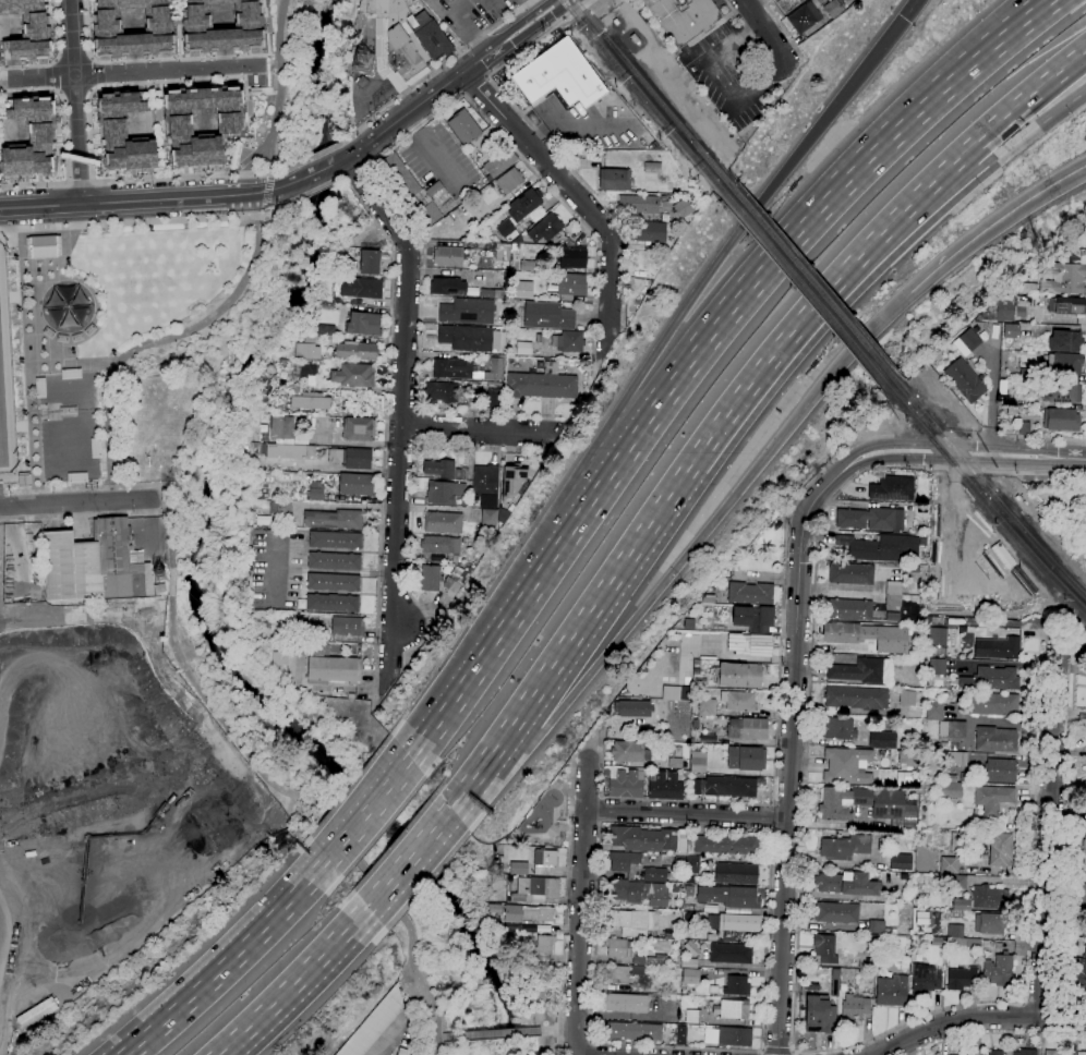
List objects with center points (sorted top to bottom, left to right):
road: (589, 2)
building: (787, 4)
building: (393, 9)
building: (832, 9)
road: (910, 9)
building: (684, 17)
building: (804, 17)
traffic signals: (905, 19)
building: (220, 24)
road: (467, 25)
building: (131, 26)
road: (763, 28)
road: (746, 29)
building: (27, 31)
road: (783, 31)
building: (430, 36)
road: (734, 44)
building: (402, 53)
road: (55, 57)
power tower: (364, 65)
road: (434, 69)
road: (131, 72)
building: (559, 76)
road: (449, 81)
road: (474, 84)
road: (722, 84)
road: (760, 85)
road: (280, 86)
railway: (653, 93)
railway: (643, 96)
road: (75, 100)
road: (1000, 121)
building: (201, 122)
building: (463, 126)
road: (1035, 128)
building: (122, 131)
building: (29, 136)
parking lot: (431, 147)
road: (557, 153)
road: (255, 157)
road: (310, 157)
building: (499, 162)
building: (653, 167)
road: (531, 168)
road: (274, 172)
road: (358, 173)
road: (309, 174)
road: (134, 180)
building: (614, 180)
building: (509, 181)
road: (952, 182)
road: (266, 190)
road: (273, 190)
building: (410, 190)
road: (574, 191)
road: (309, 193)
road: (133, 199)
building: (526, 203)
building: (640, 203)
road: (825, 205)
building: (680, 207)
road: (264, 209)
road: (271, 209)
road: (263, 214)
road: (134, 221)
road: (745, 223)
building: (503, 225)
road: (992, 226)
building: (545, 228)
road: (4, 229)
building: (651, 232)
road: (350, 238)
building: (503, 238)
building: (517, 240)
building: (569, 243)
building: (43, 245)
building: (502, 252)
building: (451, 256)
street lamp: (14, 258)
building: (574, 258)
street lamp: (67, 262)
building: (370, 262)
building: (530, 266)
building: (1064, 272)
railway: (810, 280)
building: (571, 284)
building: (447, 287)
building: (361, 288)
railway: (804, 288)
building: (522, 289)
building: (1021, 289)
building: (492, 293)
building: (328, 306)
building: (1070, 306)
street lamp: (17, 310)
building: (1004, 310)
building: (469, 311)
building: (548, 316)
building: (363, 324)
road: (800, 325)
park: (87, 330)
building: (1011, 331)
building: (469, 338)
building: (540, 339)
building: (969, 339)
building: (568, 341)
building: (1065, 341)
building: (307, 348)
building: (522, 348)
street lamp: (72, 351)
building: (355, 351)
street lamp: (113, 352)
road: (420, 354)
road: (28, 359)
street lamp: (21, 360)
building: (1064, 363)
road: (70, 365)
building: (452, 368)
building: (495, 368)
building: (304, 372)
building: (1026, 374)
building: (353, 376)
building: (964, 380)
building: (544, 383)
building: (266, 385)
building: (1002, 386)
building: (439, 392)
building: (1059, 392)
building: (493, 399)
building: (303, 401)
building: (1006, 401)
building: (1011, 411)
street lamp: (24, 412)
road: (402, 415)
building: (1060, 420)
road: (385, 427)
building: (282, 428)
road: (417, 428)
building: (1024, 428)
building: (358, 429)
road: (480, 429)
road: (937, 436)
road: (1034, 438)
building: (283, 451)
road: (961, 452)
building: (351, 458)
street lamp: (27, 463)
building: (441, 469)
road: (965, 469)
road: (16, 470)
road: (1035, 473)
building: (463, 474)
building: (23, 480)
building: (485, 481)
building: (510, 481)
road: (607, 483)
building: (357, 484)
railway: (987, 486)
building: (892, 488)
road: (73, 489)
building: (316, 490)
building: (441, 493)
road: (107, 495)
railway: (982, 497)
road: (412, 498)
road: (74, 502)
building: (283, 507)
building: (502, 514)
road: (86, 516)
building: (488, 517)
building: (871, 519)
building: (333, 520)
building: (443, 522)
road: (711, 527)
building: (335, 539)
building: (439, 545)
building: (882, 548)
building: (334, 560)
building: (95, 563)
building: (852, 573)
building: (158, 578)
power tower: (158, 578)
building: (431, 578)
building: (334, 582)
building: (454, 583)
building: (159, 589)
building: (750, 593)
building: (893, 594)
road: (599, 598)
building: (709, 599)
building: (333, 603)
building: (849, 609)
road: (64, 615)
road: (170, 616)
building: (753, 618)
building: (348, 626)
building: (313, 629)
road: (1039, 633)
building: (938, 635)
building: (867, 636)
road: (496, 640)
building: (749, 644)
building: (1004, 648)
building: (316, 650)
building: (919, 652)
building: (280, 659)
building: (937, 667)
building: (335, 669)
building: (858, 670)
building: (737, 675)
building: (995, 679)
building: (676, 693)
building: (906, 698)
building: (854, 699)
building: (738, 701)
road: (779, 704)
building: (992, 705)
building: (707, 707)
building: (632, 708)
building: (934, 710)
building: (747, 728)
building: (838, 728)
building: (956, 730)
building: (708, 738)
building: (882, 739)
building: (995, 739)
road: (595, 741)
building: (627, 751)
road: (789, 755)
building: (746, 759)
building: (908, 759)
building: (957, 759)
building: (698, 762)
building: (675, 763)
building: (846, 765)
building: (1001, 771)
road: (476, 772)
building: (962, 776)
building: (626, 785)
building: (729, 786)
building: (665, 787)
building: (696, 787)
building: (949, 789)
building: (992, 801)
building: (1085, 802)
building: (868, 805)
road: (601, 808)
road: (371, 810)
road: (687, 813)
road: (773, 817)
road: (601, 821)
road: (836, 825)
road: (1050, 827)
building: (649, 839)
road: (1065, 839)
building: (727, 845)
building: (845, 847)
building: (1084, 848)
building: (1001, 849)
road: (409, 857)
building: (678, 860)
building: (623, 861)
building: (544, 862)
building: (901, 862)
building: (691, 864)
building: (949, 865)
building: (519, 869)
building: (736, 873)
building: (655, 874)
power tower: (499, 877)
building: (958, 882)
building: (847, 884)
building: (535, 889)
building: (689, 890)
building: (639, 892)
road: (566, 893)
building: (1083, 896)
building: (990, 897)
building: (733, 898)
building: (962, 905)
road: (581, 908)
building: (494, 909)
building: (837, 912)
building: (528, 914)
building: (632, 921)
building: (989, 923)
building: (734, 924)
building: (877, 926)
building: (955, 931)
building: (1084, 932)
road: (12, 939)
building: (940, 942)
building: (967, 942)
building: (543, 945)
building: (691, 948)
building: (623, 949)
building: (822, 950)
building: (731, 953)
road: (232, 961)
building: (659, 961)
building: (689, 963)
building: (999, 969)
building: (1077, 972)
building: (623, 973)
building: (691, 975)
building: (961, 978)
building: (926, 979)
road: (295, 982)
building: (835, 982)
building: (737, 986)
building: (892, 991)
building: (627, 1003)
building: (854, 1008)
building: (735, 1009)
building: (37, 1012)
road: (794, 1012)
building: (820, 1015)
building: (692, 1016)
road: (1061, 1019)
building: (374, 1024)
road: (953, 1024)
road: (557, 1030)
building: (632, 1032)
road: (490, 1033)
road: (997, 1033)
building: (681, 1034)
road: (388, 1036)
road: (438, 1036)
building: (728, 1036)
road: (591, 1047)
road: (379, 1050)
road: (777, 1051)
building: (403, 1052)
building: (1026, 1052)
building: (992, 1053)
building: (1050, 1053)
building: (1081, 1053)

